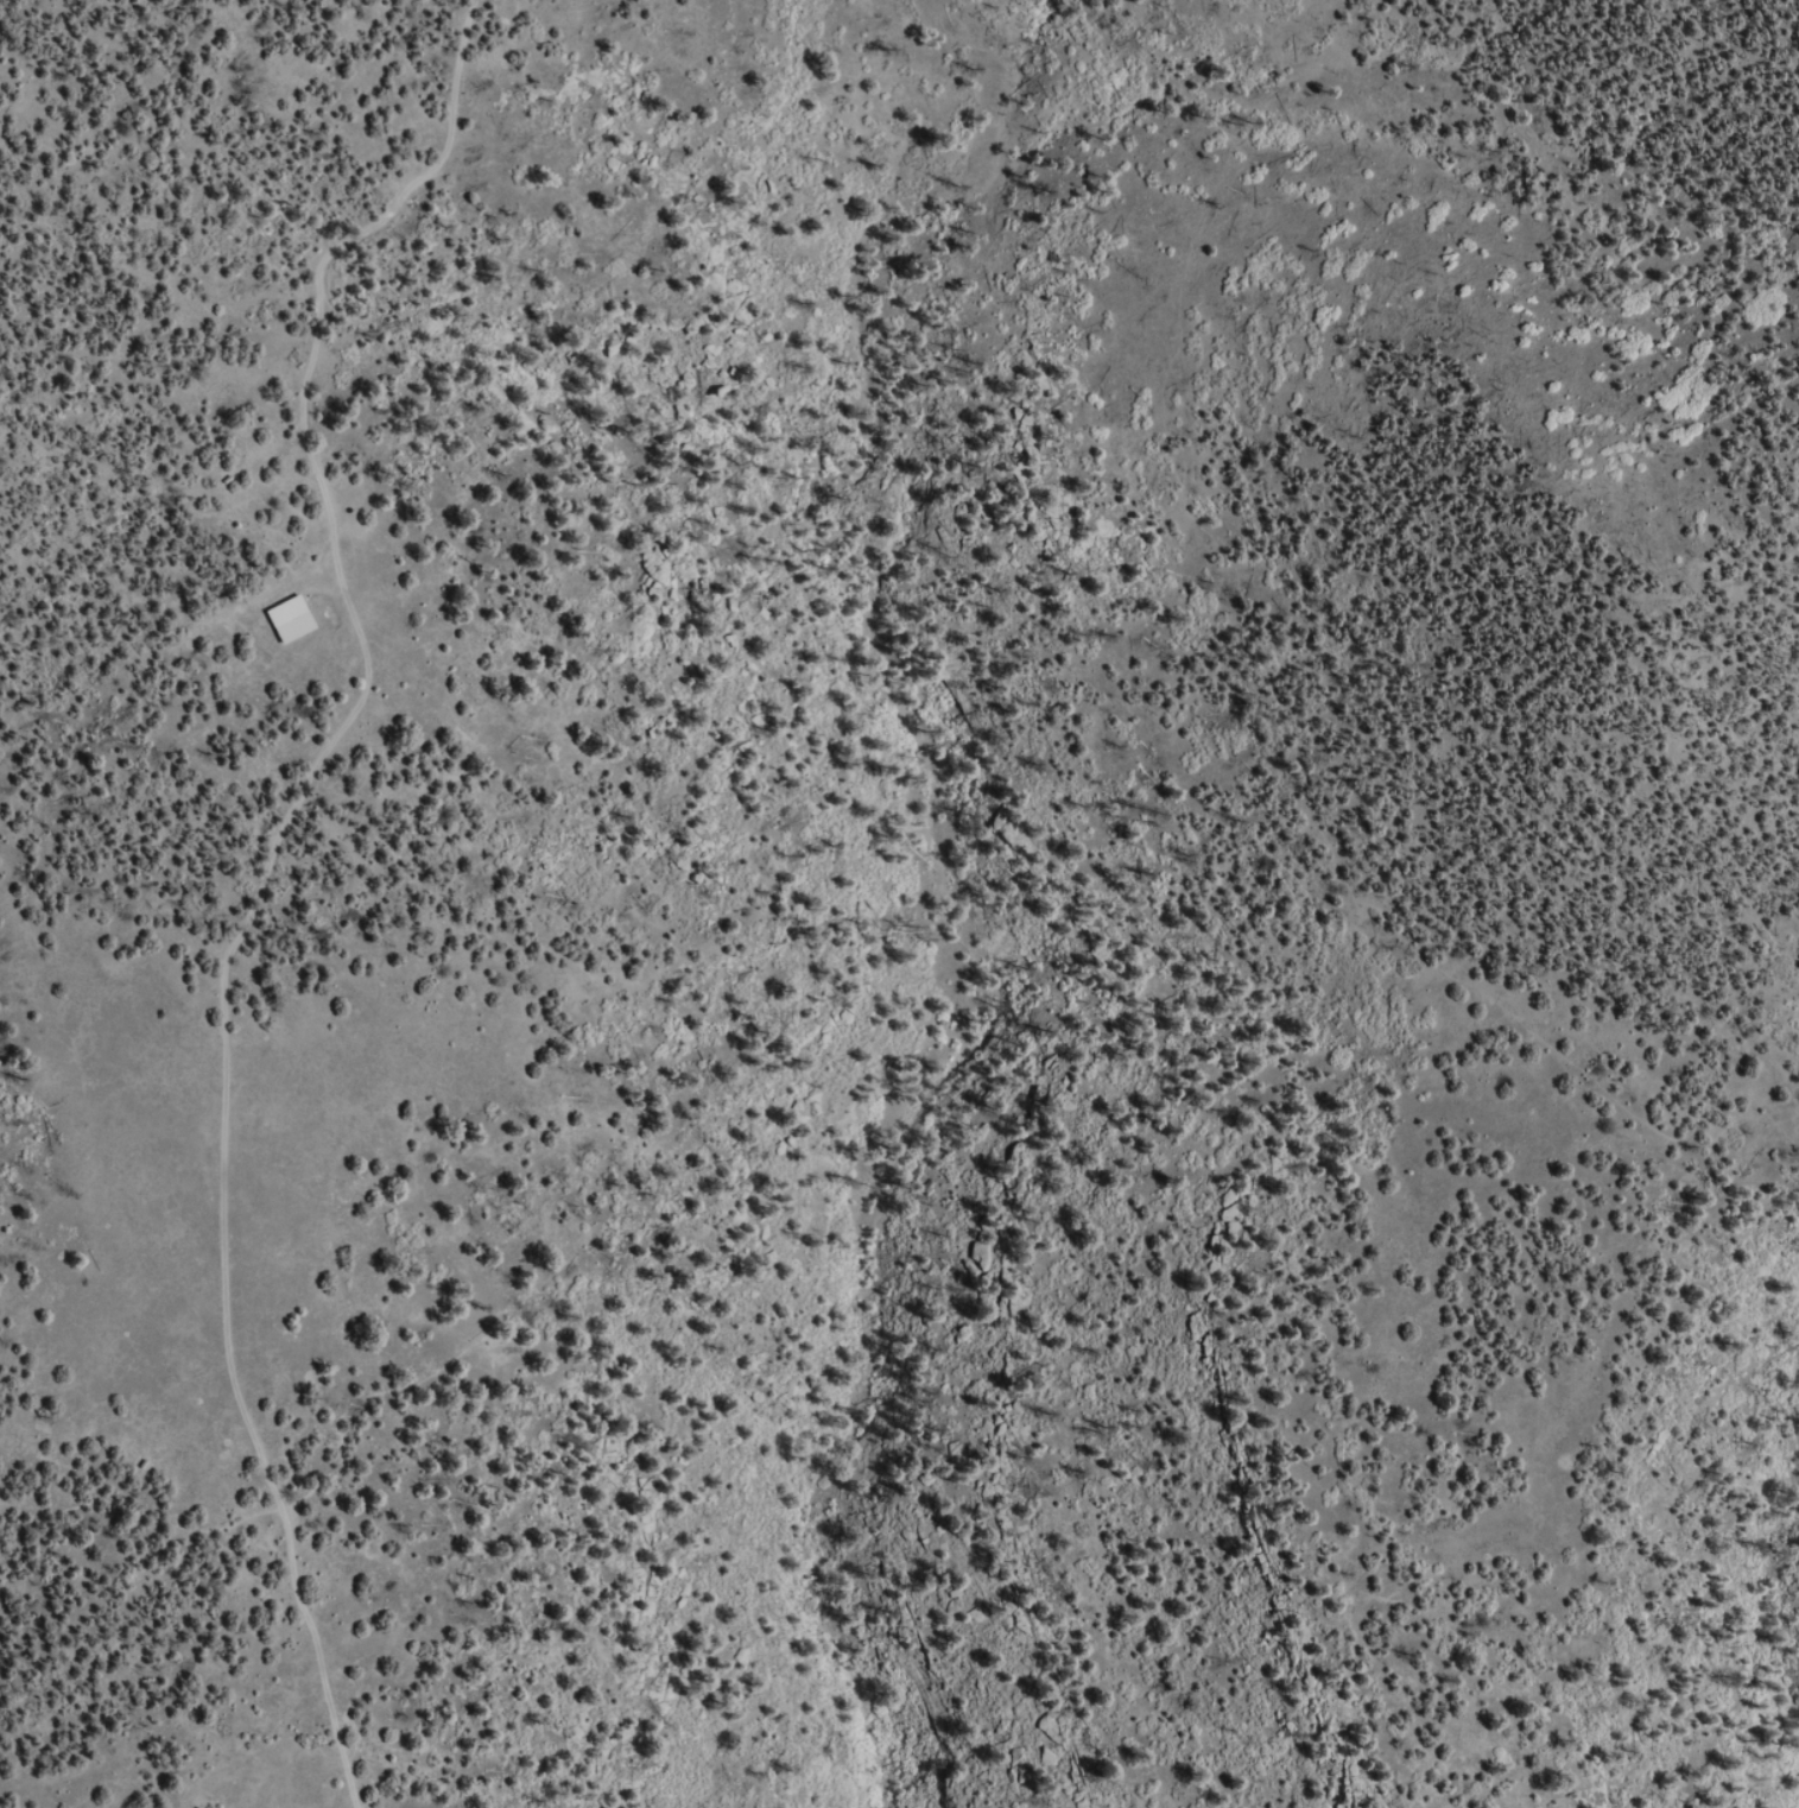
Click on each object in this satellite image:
building: (230, 480)
building: (298, 620)
road: (344, 731)
building: (148, 1465)
road: (91, 1504)
road: (321, 1656)

